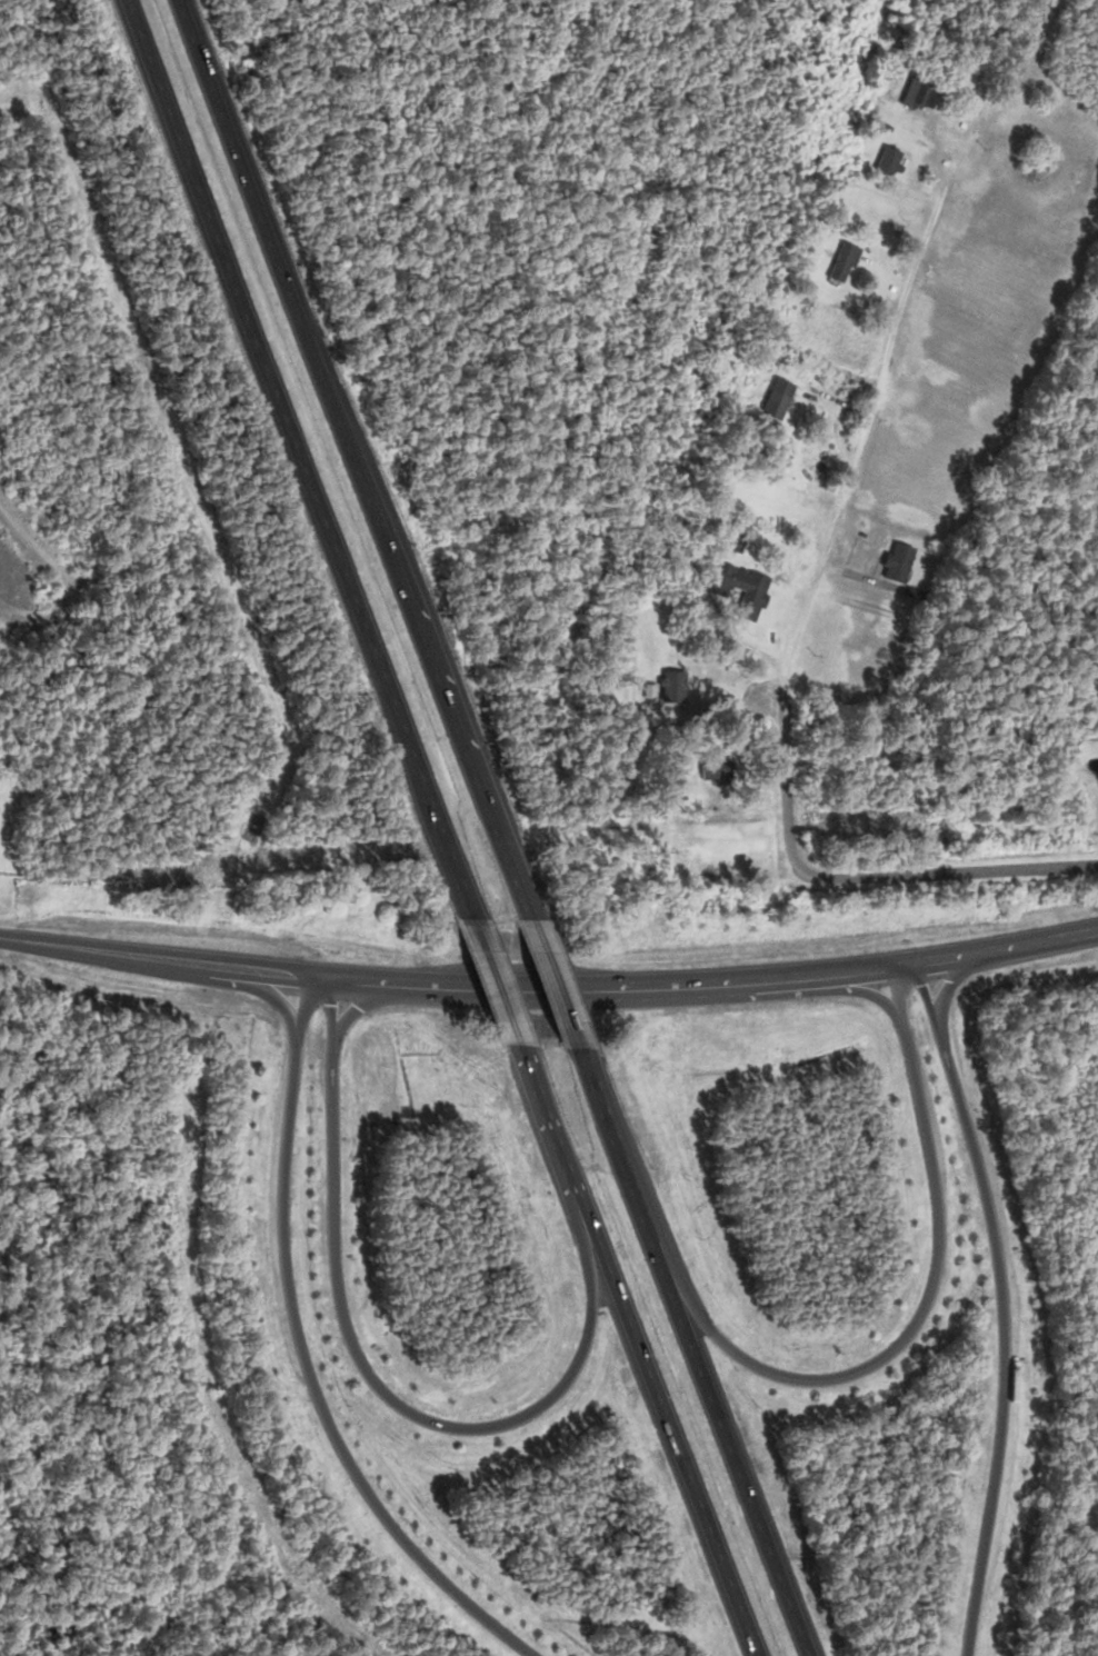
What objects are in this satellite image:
building: (918, 96)
building: (886, 162)
building: (841, 265)
building: (775, 400)
road: (352, 462)
road: (300, 468)
building: (733, 545)
building: (896, 563)
railway: (20, 565)
building: (747, 593)
road: (797, 606)
building: (671, 687)
building: (713, 774)
road: (1007, 948)
road: (457, 985)
road: (553, 986)
road: (500, 996)
road: (1000, 1306)
road: (899, 1338)
road: (693, 1350)
road: (638, 1356)
road: (301, 1357)
road: (385, 1394)

